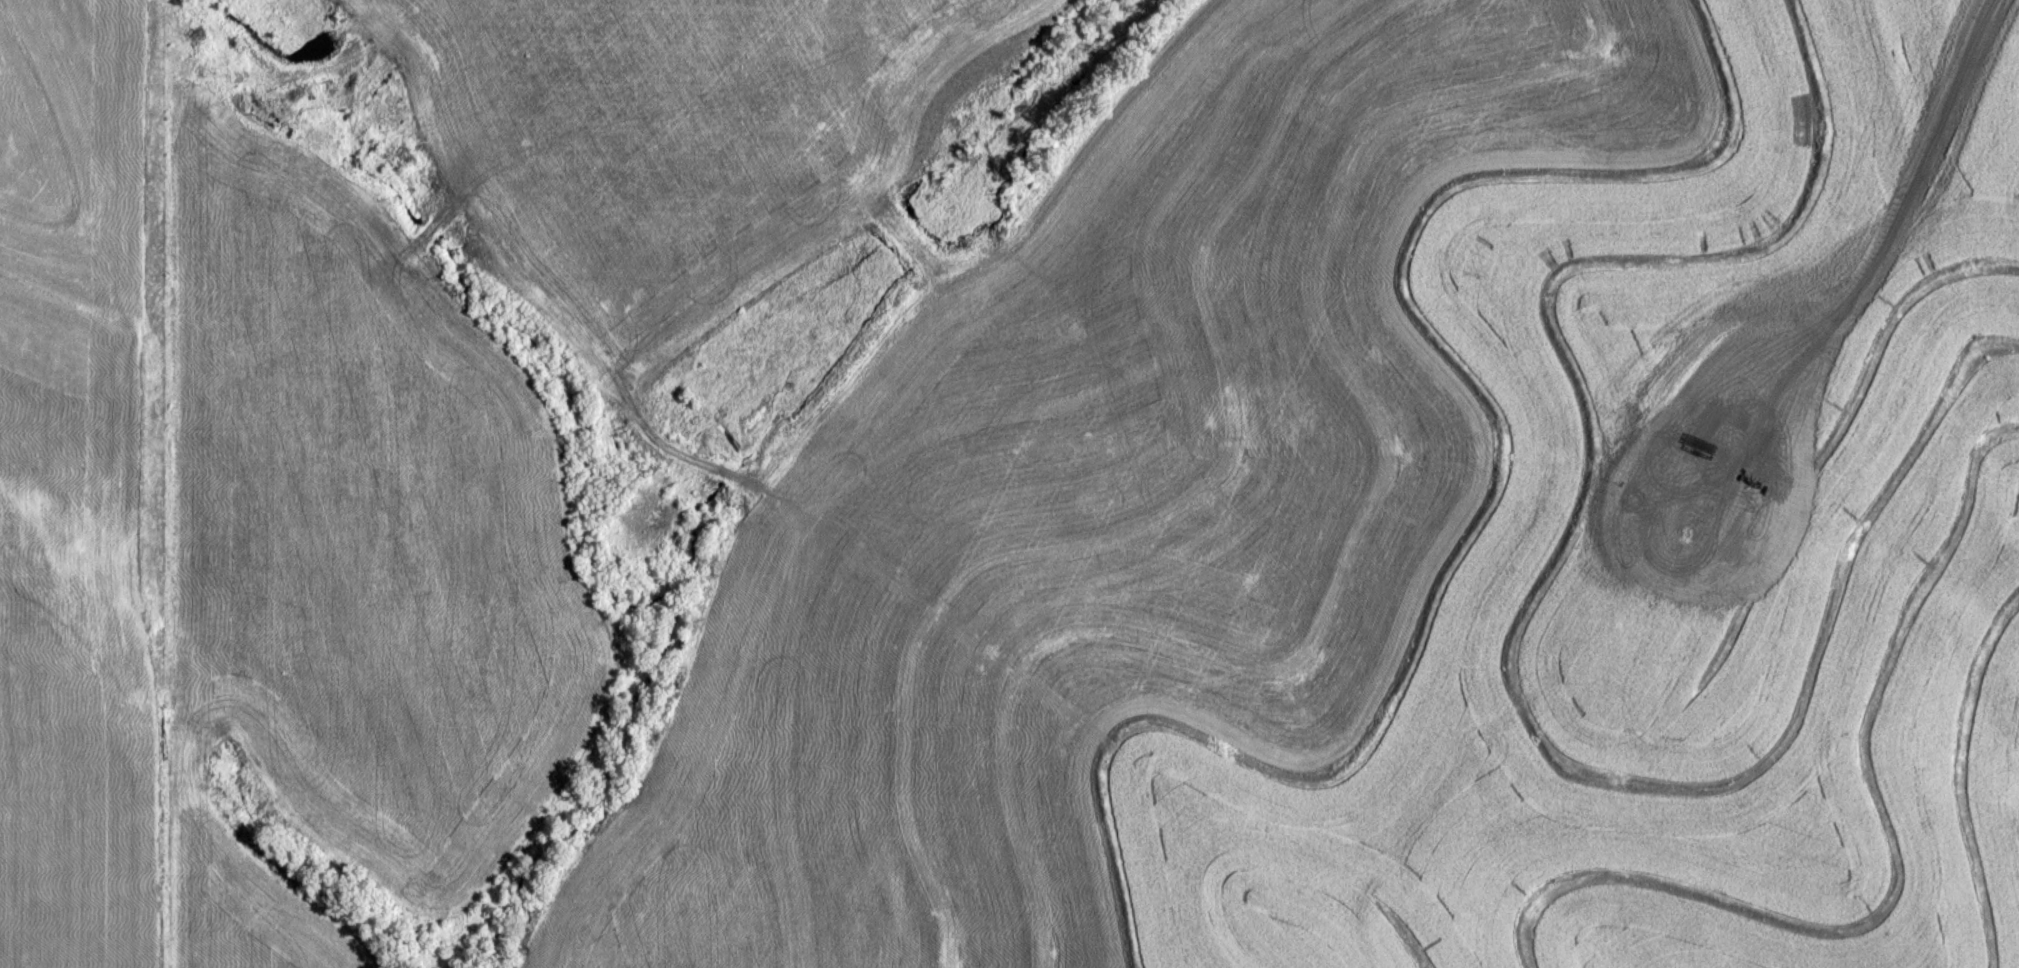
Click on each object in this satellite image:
wind turbine: (1674, 533)

